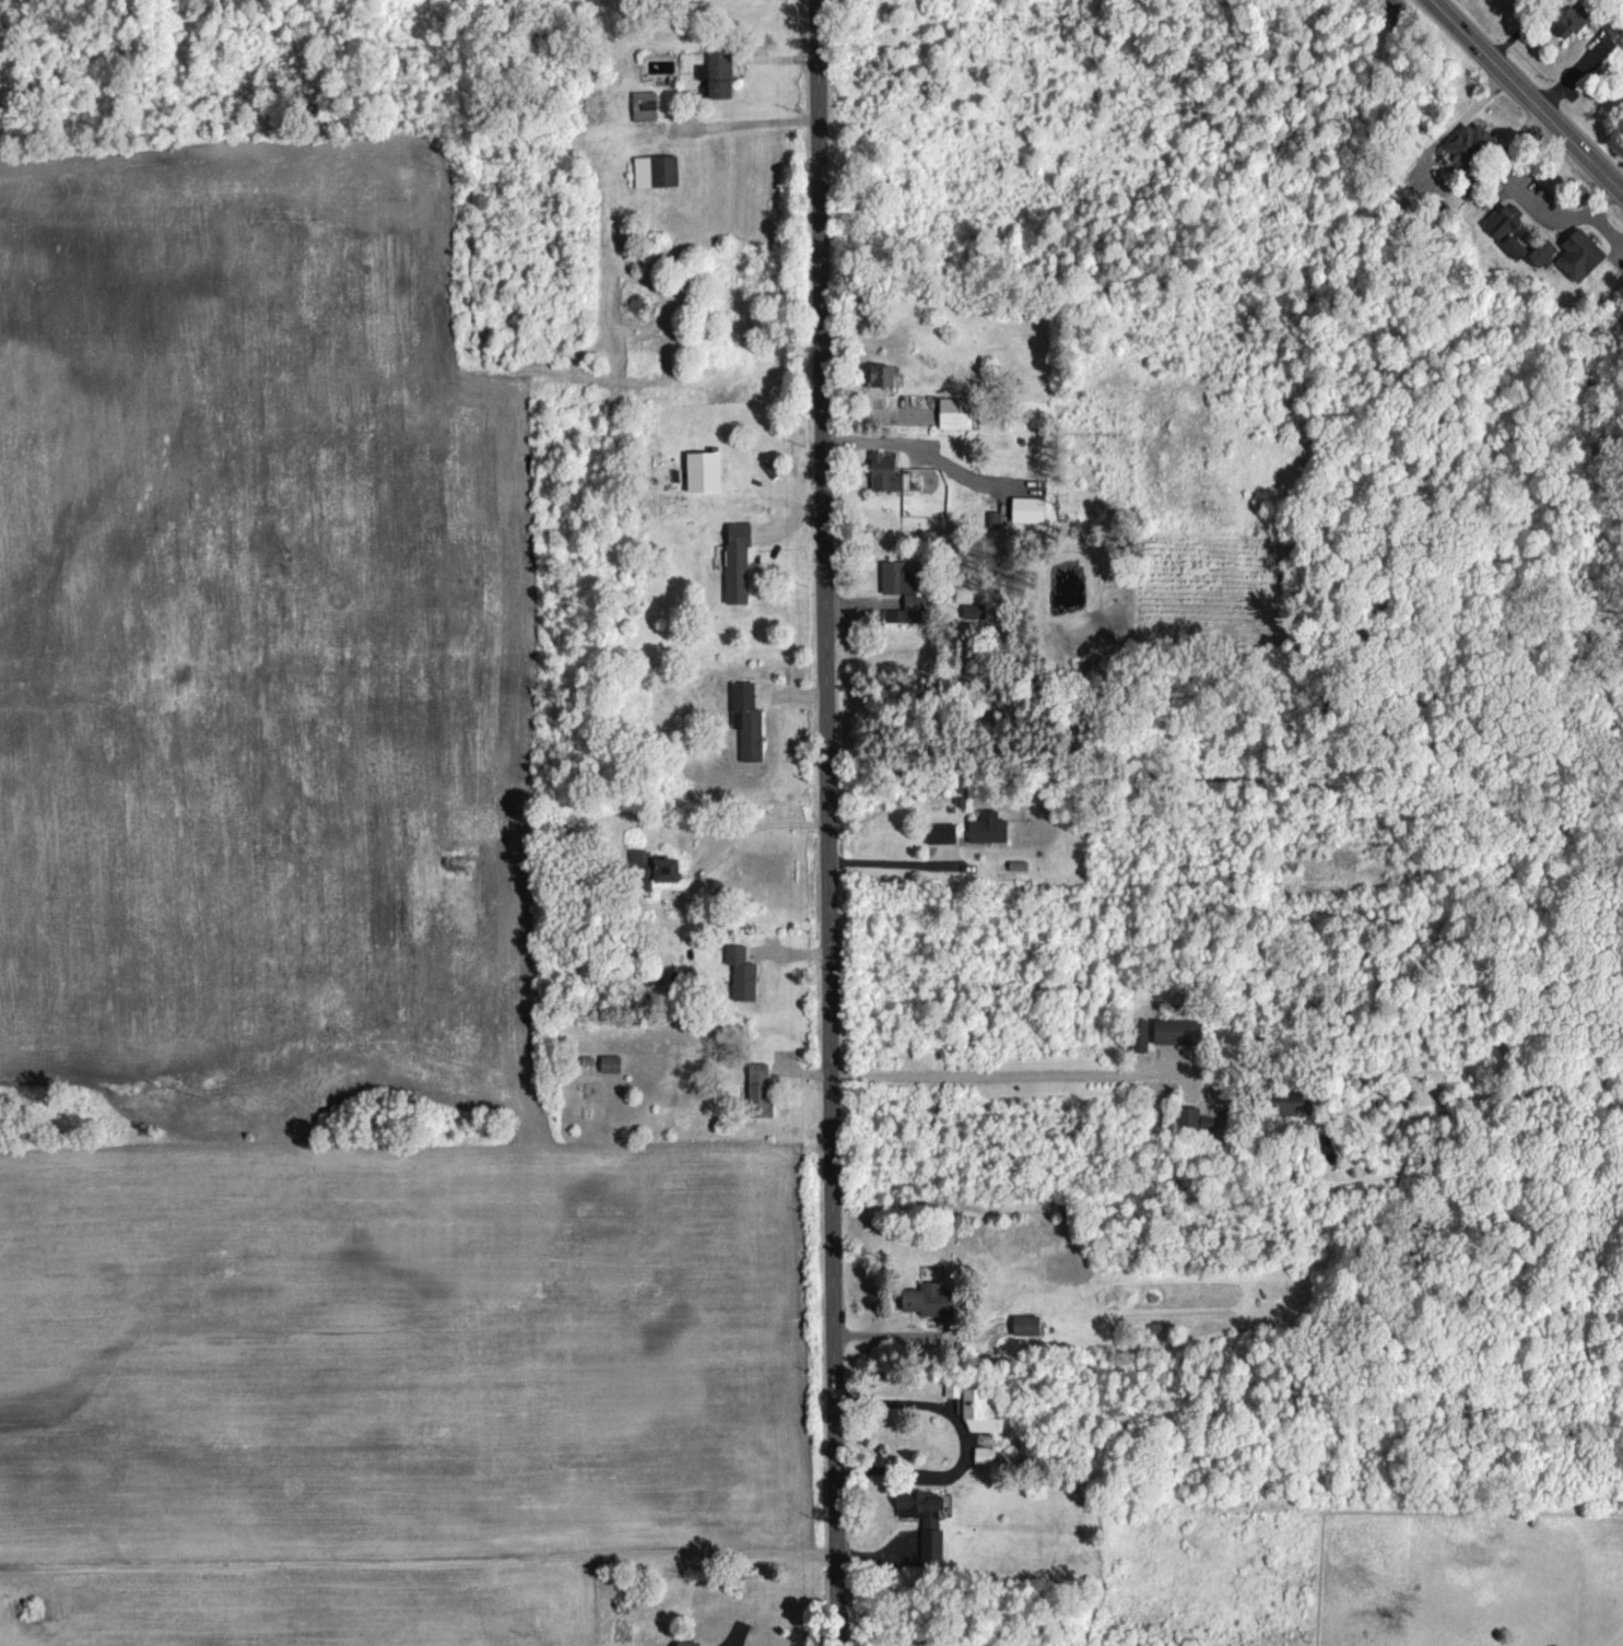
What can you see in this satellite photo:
building: (1566, 19)
building: (717, 74)
road: (1531, 92)
building: (644, 105)
building: (1462, 148)
building: (655, 171)
road: (1430, 183)
road: (1553, 212)
building: (1506, 228)
road: (1603, 230)
building: (1540, 251)
building: (1578, 255)
building: (878, 376)
building: (952, 412)
road: (930, 451)
building: (702, 471)
building: (883, 473)
building: (1025, 509)
building: (736, 563)
building: (899, 591)
building: (974, 611)
building: (745, 720)
road: (757, 822)
road: (827, 822)
building: (986, 827)
building: (939, 832)
road: (887, 861)
building: (650, 869)
building: (740, 973)
building: (1176, 1032)
building: (1139, 1035)
building: (609, 1063)
road: (998, 1075)
building: (757, 1090)
building: (1188, 1116)
building: (1207, 1120)
building: (932, 1298)
building: (1023, 1325)
building: (951, 1388)
building: (977, 1412)
road: (965, 1439)
building: (922, 1520)
building: (684, 1643)
road: (725, 1644)

